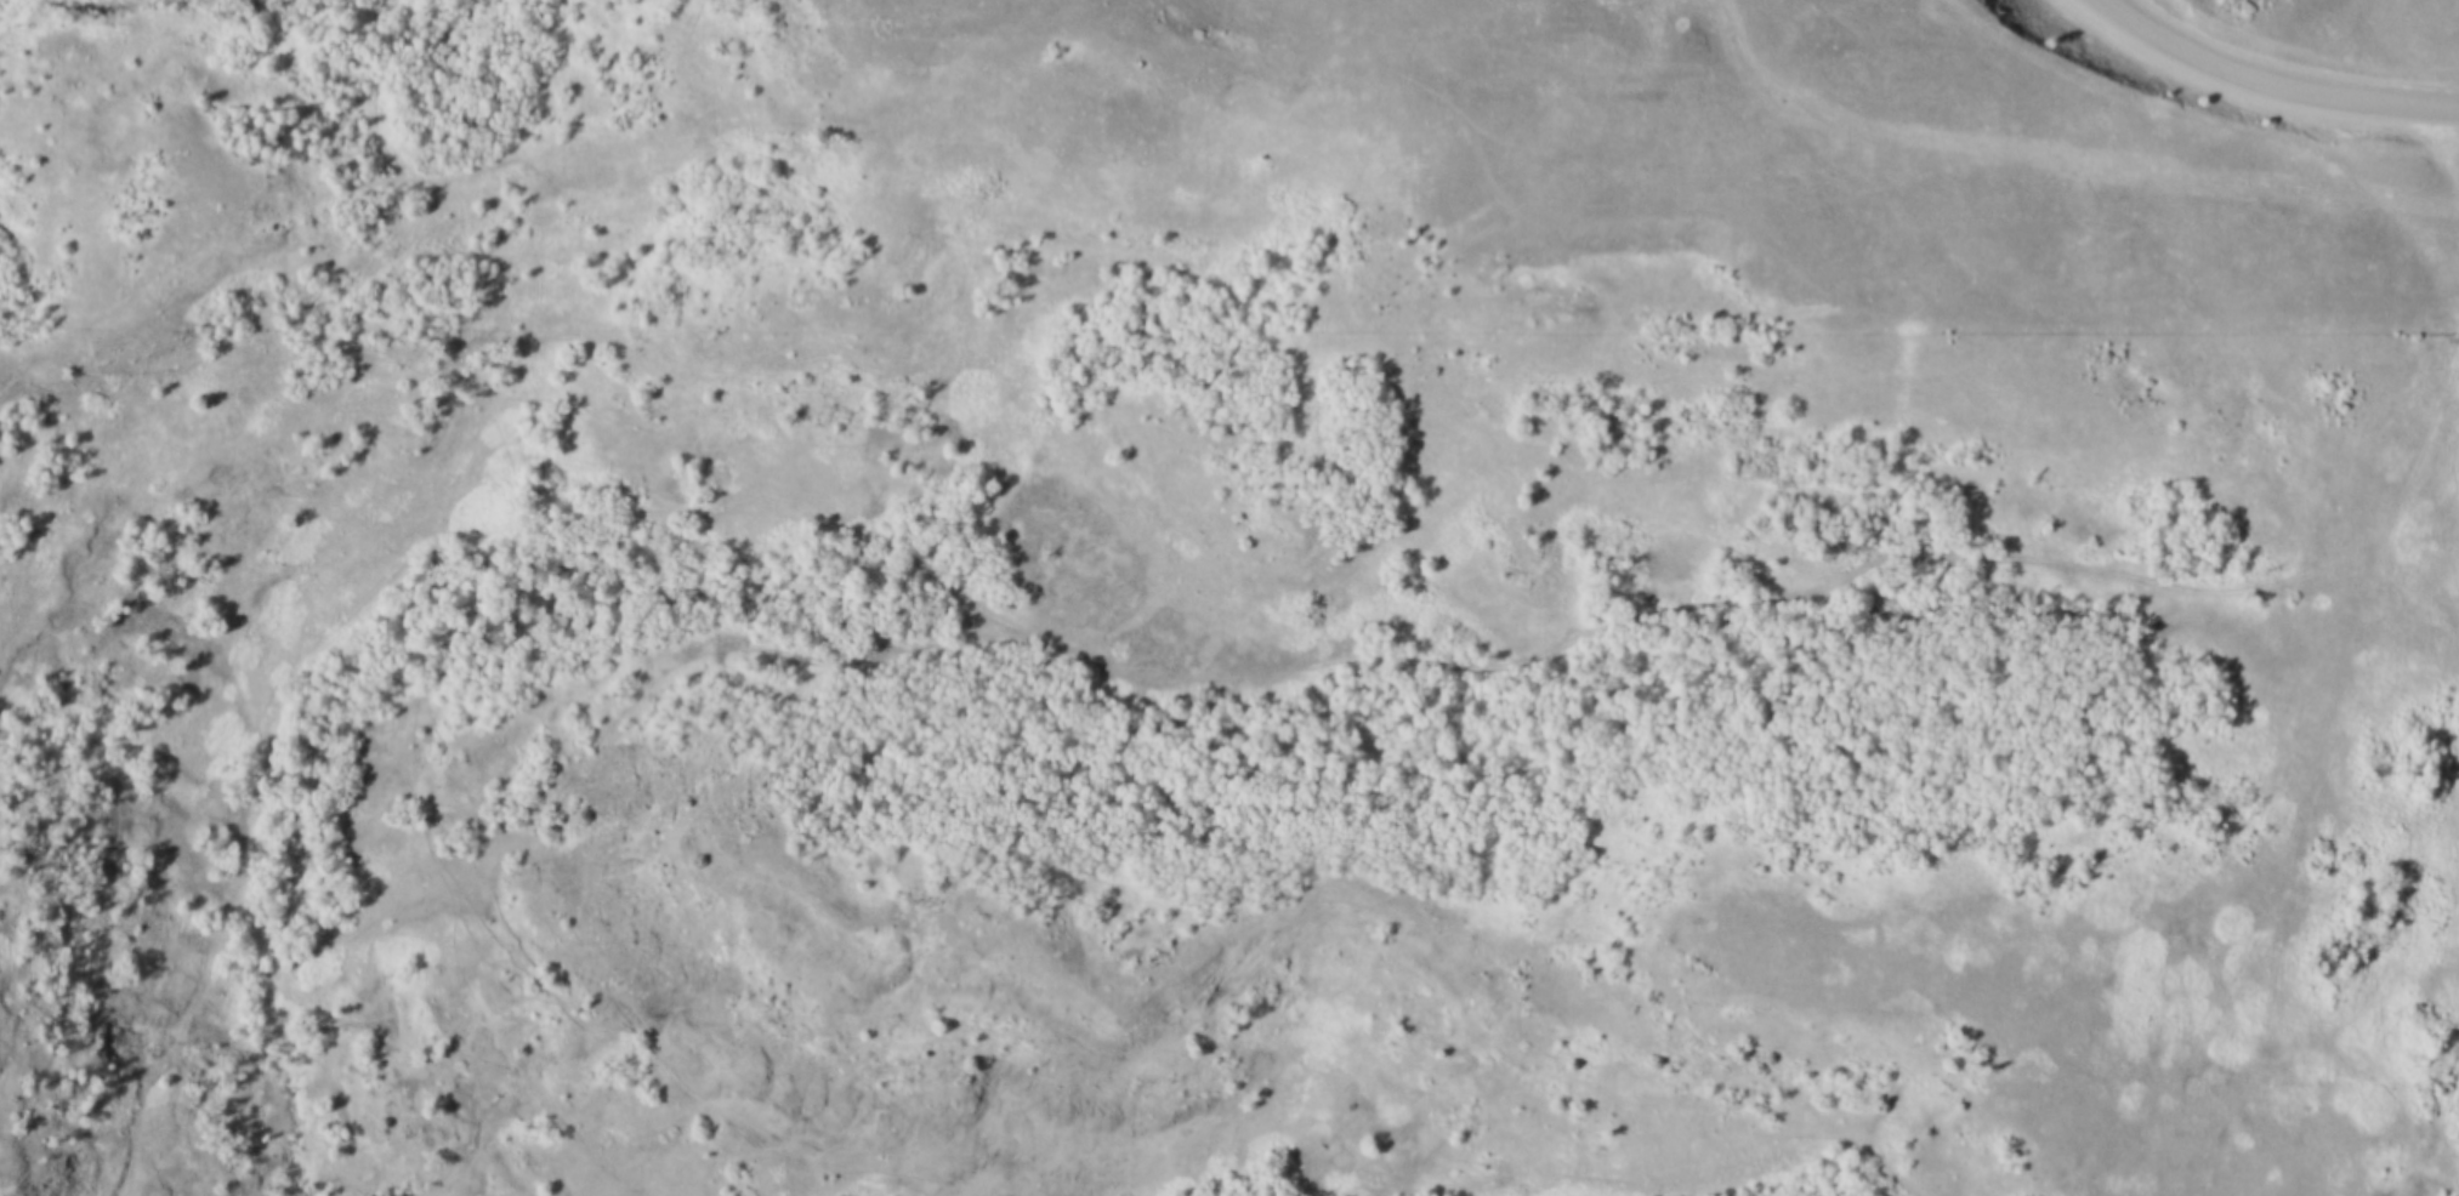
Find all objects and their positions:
road: (2266, 86)

